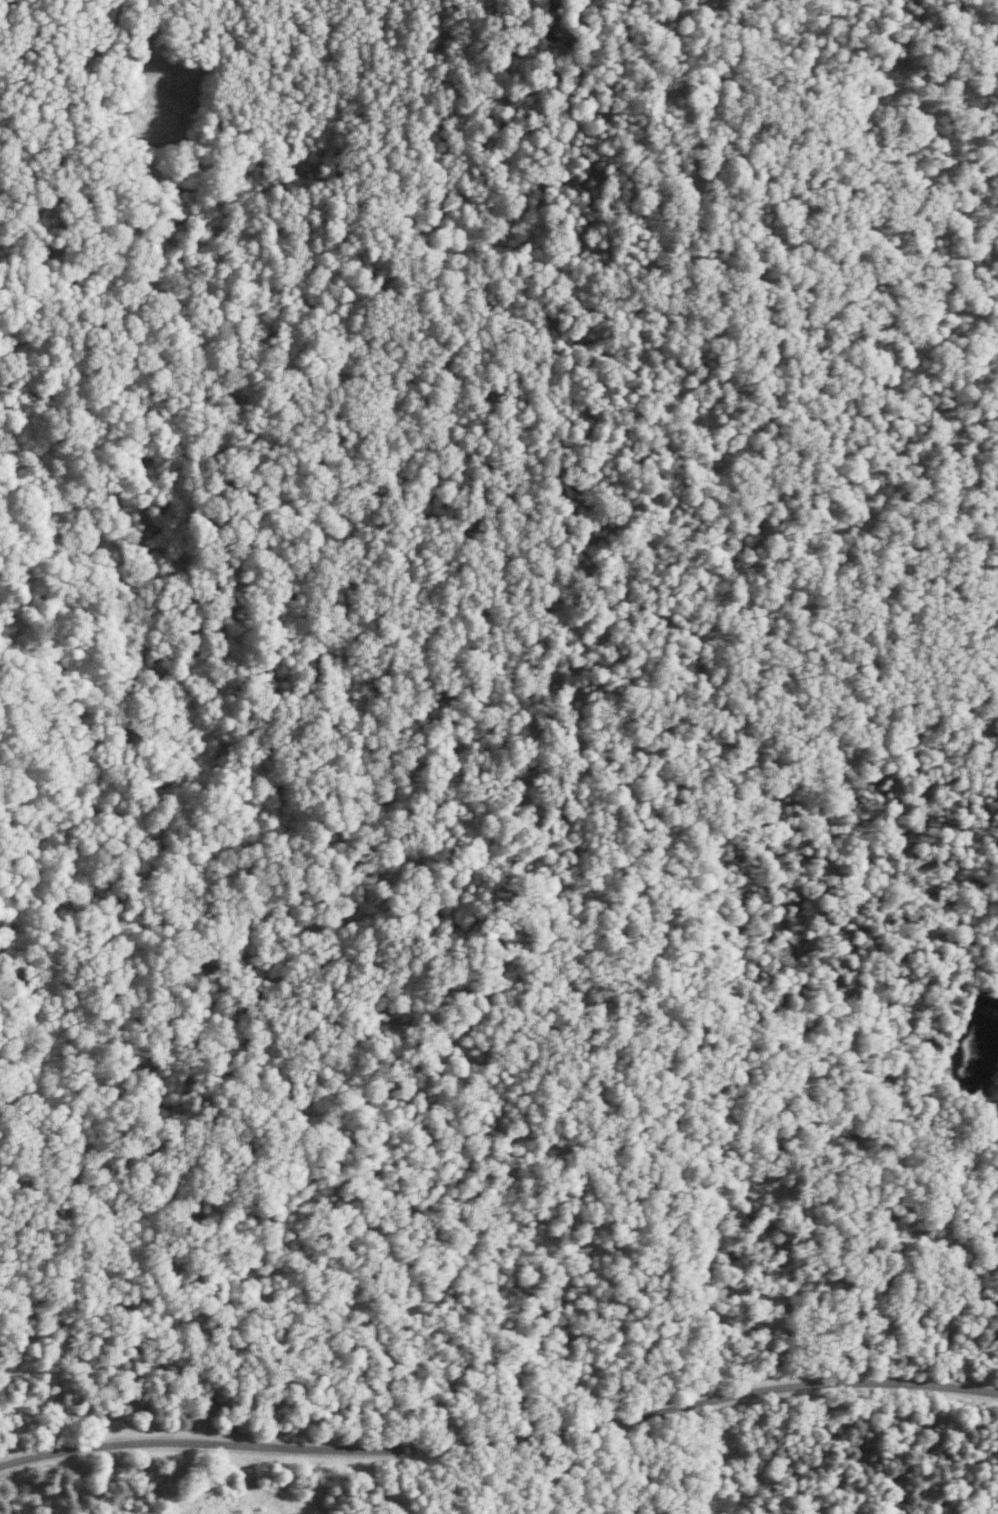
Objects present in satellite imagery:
road: (501, 1444)

